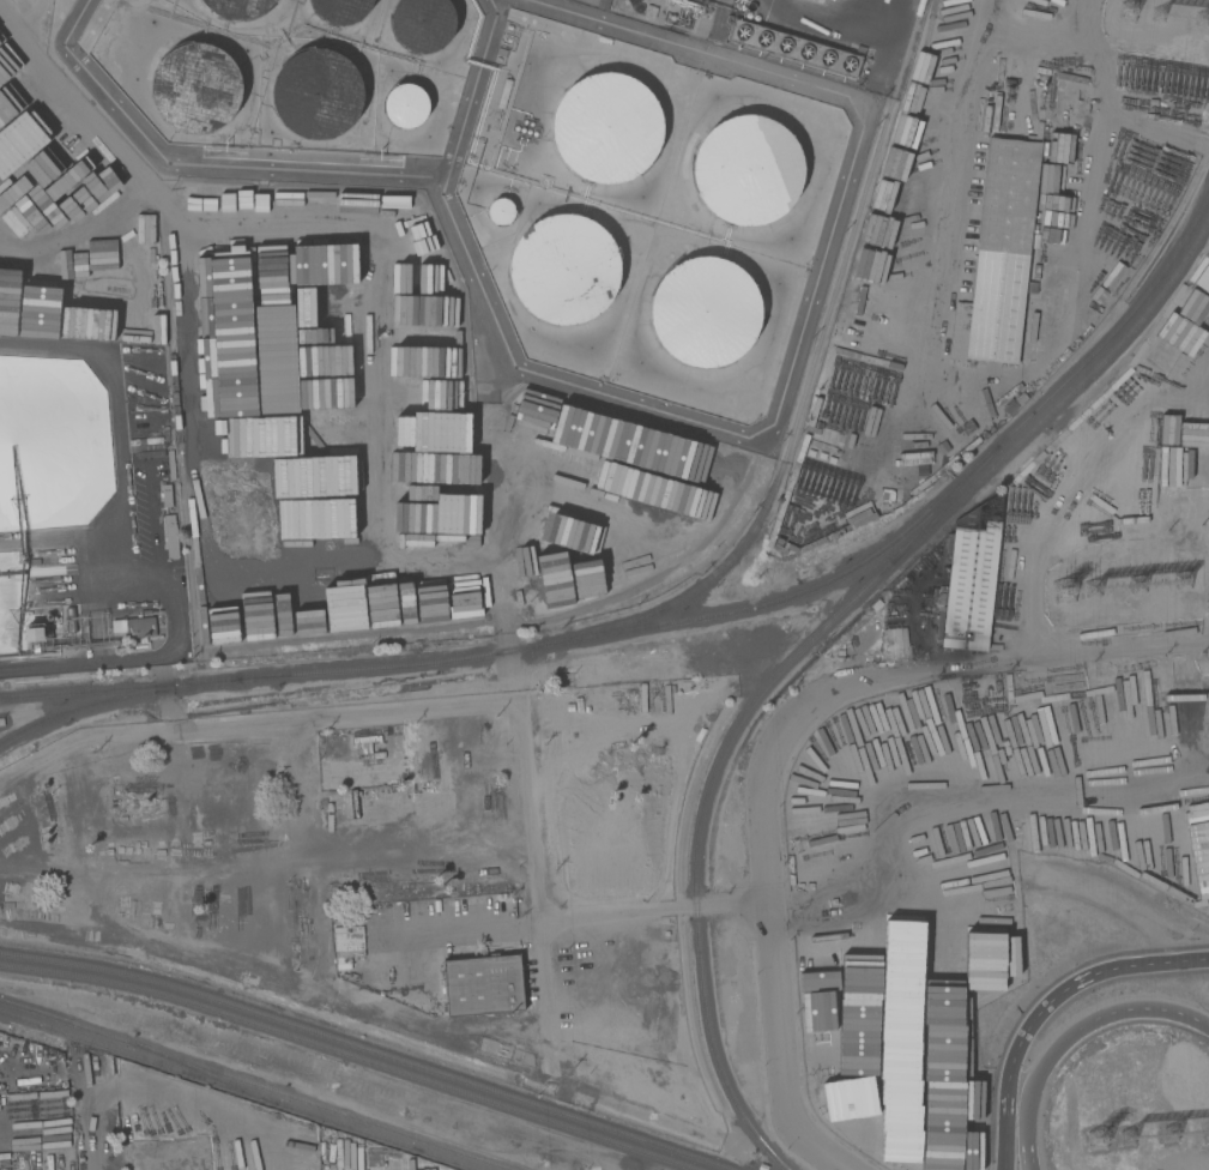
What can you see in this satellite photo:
building: (603, 4)
building: (685, 4)
building: (237, 6)
storage tank: (237, 6)
building: (750, 6)
building: (649, 11)
building: (341, 12)
storage tank: (341, 12)
power tower: (1130, 12)
power tower: (1165, 12)
building: (748, 14)
building: (756, 17)
power tower: (1207, 18)
building: (419, 24)
storage tank: (419, 24)
road: (1096, 26)
building: (604, 40)
building: (797, 48)
building: (500, 52)
building: (1068, 68)
road: (1113, 77)
building: (199, 88)
storage tank: (199, 88)
building: (503, 92)
building: (316, 94)
storage tank: (316, 94)
building: (406, 105)
storage tank: (406, 105)
building: (609, 125)
storage tank: (609, 125)
building: (744, 167)
storage tank: (744, 167)
road: (962, 181)
building: (500, 210)
storage tank: (500, 210)
building: (999, 257)
building: (567, 269)
storage tank: (567, 269)
building: (705, 312)
storage tank: (705, 312)
road: (1207, 364)
railway: (806, 390)
building: (854, 399)
building: (147, 440)
building: (149, 453)
building: (170, 465)
building: (817, 469)
road: (119, 471)
building: (828, 471)
building: (165, 495)
building: (887, 496)
railway: (944, 505)
road: (1040, 519)
road: (62, 535)
building: (170, 536)
building: (971, 577)
power tower: (1178, 583)
power tower: (1138, 585)
power tower: (1093, 591)
power tower: (1063, 592)
building: (876, 604)
railway: (767, 605)
building: (931, 609)
building: (48, 617)
building: (69, 620)
building: (138, 627)
building: (47, 633)
building: (34, 635)
railway: (808, 644)
building: (894, 644)
road: (78, 663)
road: (158, 671)
railway: (80, 692)
railway: (121, 699)
road: (167, 706)
road: (256, 720)
building: (1, 722)
road: (780, 742)
building: (368, 753)
road: (1003, 784)
road: (90, 837)
road: (314, 868)
road: (997, 887)
road: (540, 897)
road: (657, 912)
road: (474, 929)
road: (1161, 965)
building: (483, 984)
road: (1069, 987)
road: (277, 996)
road: (1074, 1031)
railway: (370, 1049)
railway: (349, 1055)
railway: (140, 1057)
railway: (206, 1073)
building: (146, 1074)
railway: (256, 1084)
road: (1008, 1091)
road: (200, 1108)
road: (95, 1114)
building: (61, 1135)
railway: (380, 1136)
power tower: (1185, 1138)
power tower: (1142, 1142)
power tower: (1100, 1144)
building: (760, 1165)
road: (1032, 1165)
road: (1033, 1165)

